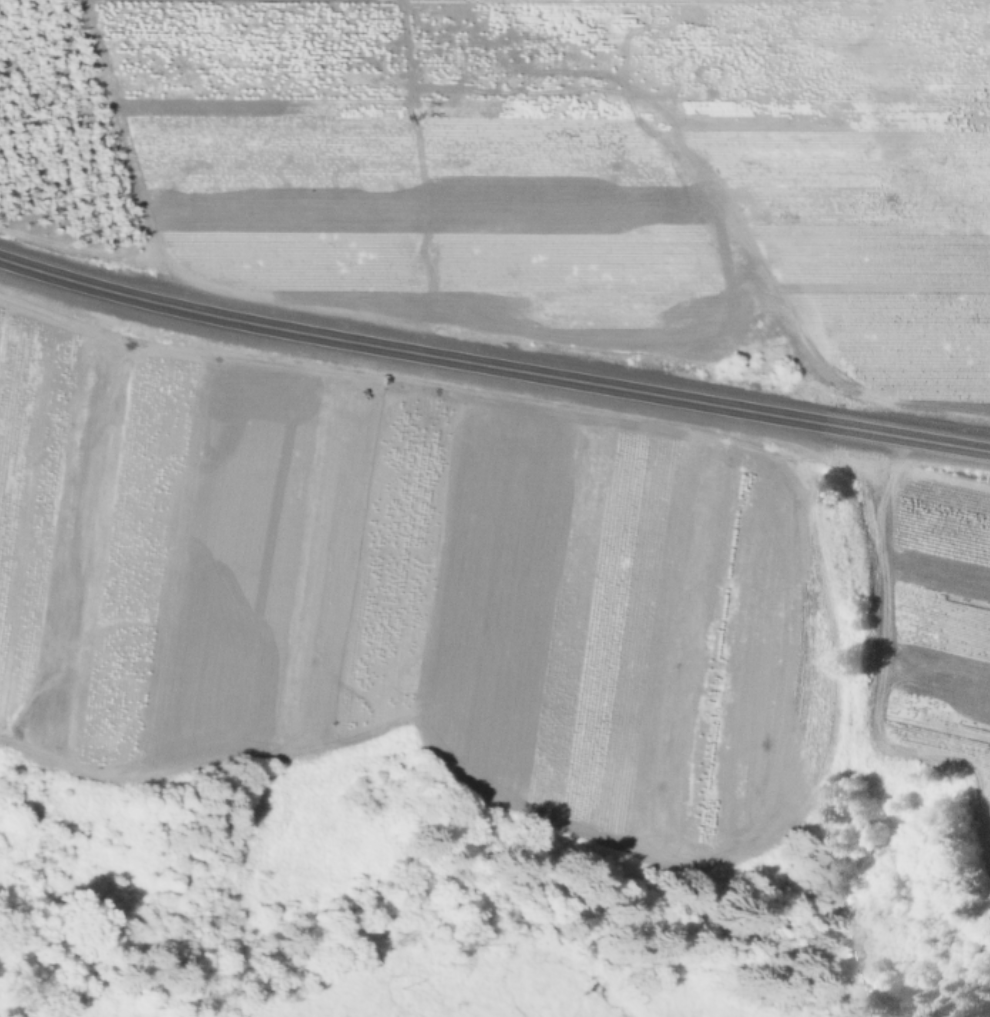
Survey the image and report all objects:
crop: (585, 160)
road: (492, 366)
crop: (474, 600)

